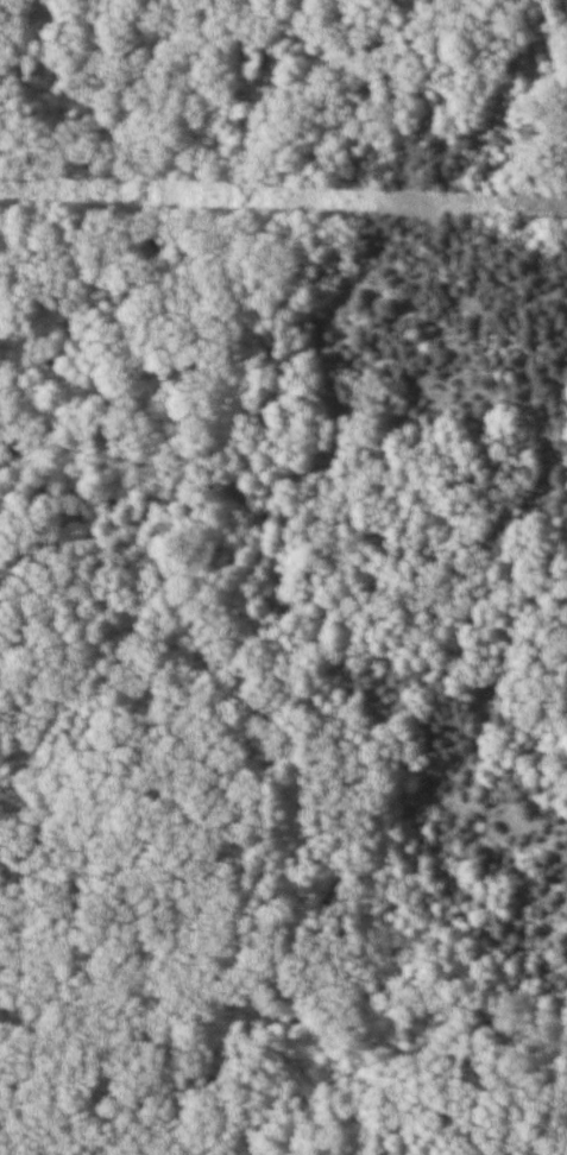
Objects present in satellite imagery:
road: (189, 173)

